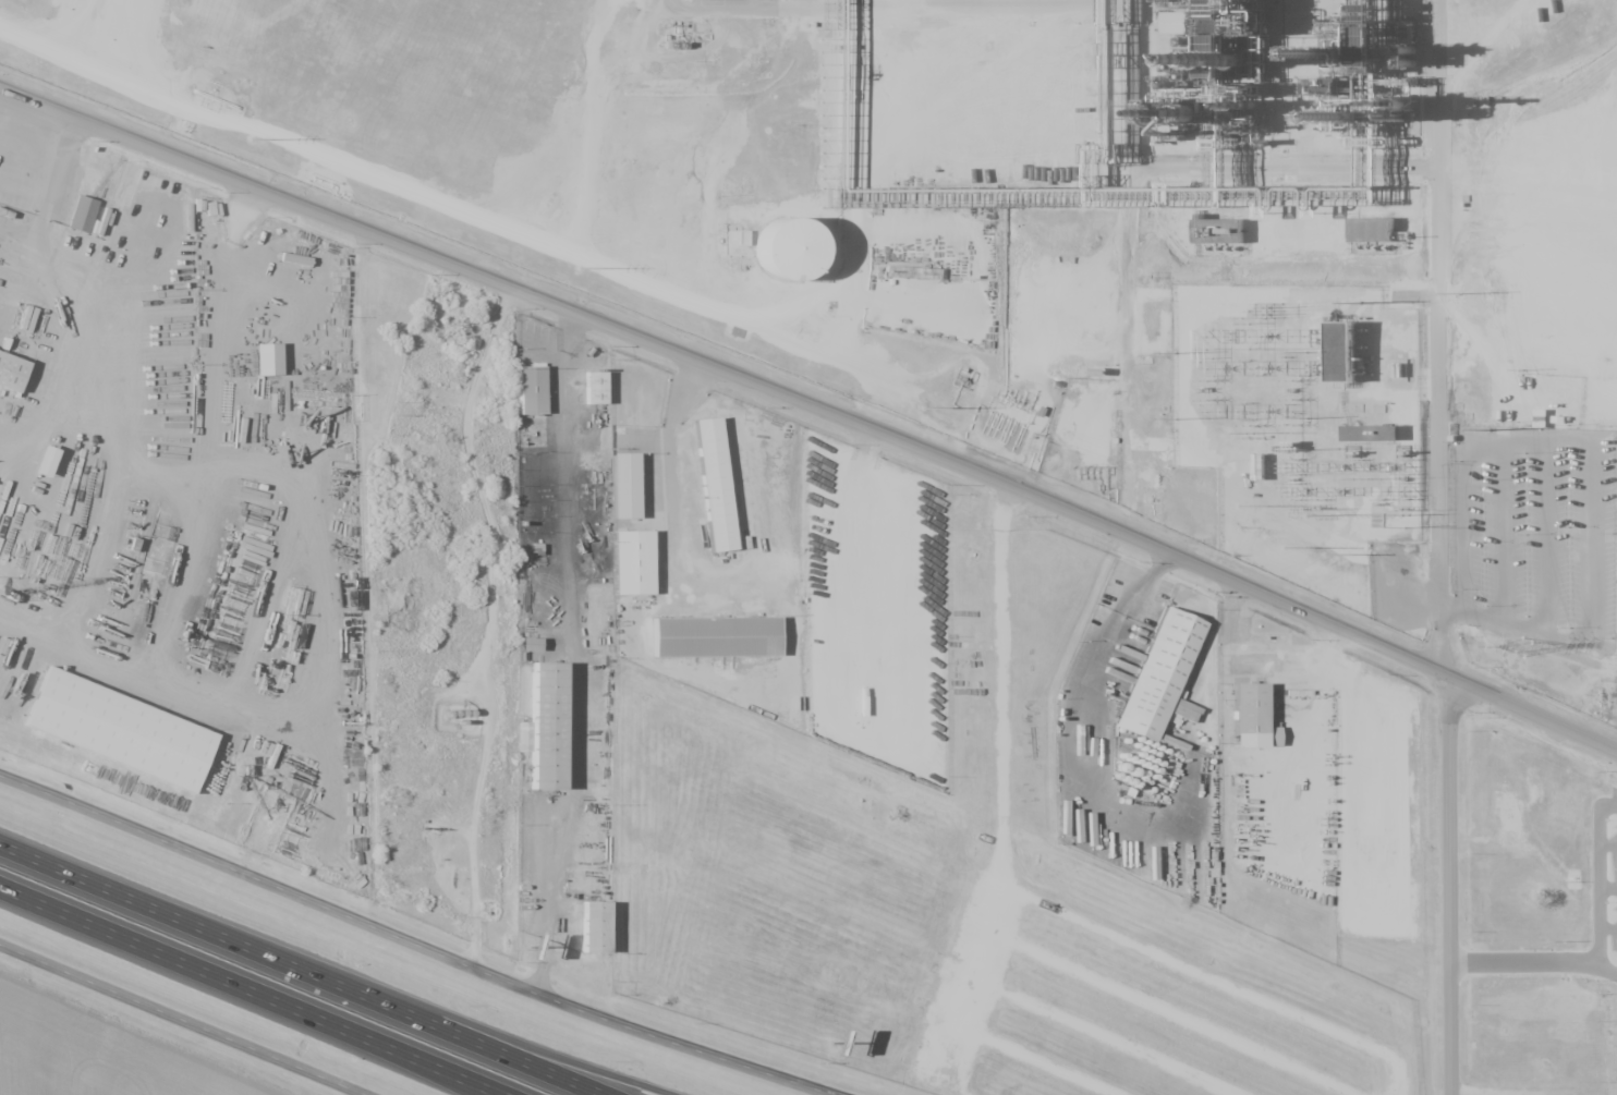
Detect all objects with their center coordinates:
building: (1223, 29)
road: (1469, 37)
power tower: (250, 139)
building: (85, 217)
building: (1371, 230)
building: (734, 238)
building: (805, 263)
storage tank: (805, 263)
power tower: (575, 267)
power tower: (1458, 292)
power tower: (1360, 302)
power tower: (1265, 309)
road: (1435, 334)
building: (1342, 352)
building: (273, 364)
building: (14, 375)
building: (603, 392)
building: (537, 393)
road: (815, 397)
power tower: (921, 409)
power substation: (1299, 424)
power tower: (1486, 429)
building: (1367, 431)
power tower: (1247, 433)
building: (46, 461)
building: (719, 487)
building: (630, 490)
power tower: (1236, 506)
power tower: (1314, 508)
power tower: (1402, 512)
power tower: (1302, 514)
power tower: (1401, 526)
power tower: (1281, 547)
power tower: (1322, 555)
building: (640, 568)
road: (486, 615)
road: (1116, 618)
building: (722, 641)
building: (530, 644)
power tower: (1521, 647)
building: (1164, 679)
building: (1256, 720)
building: (556, 732)
building: (127, 733)
road: (1448, 885)
road: (1602, 888)
building: (603, 933)
road: (415, 940)
road: (1527, 962)
road: (311, 966)
road: (252, 990)
road: (182, 1014)
crop: (100, 1054)
road: (421, 1066)
road: (595, 1078)

